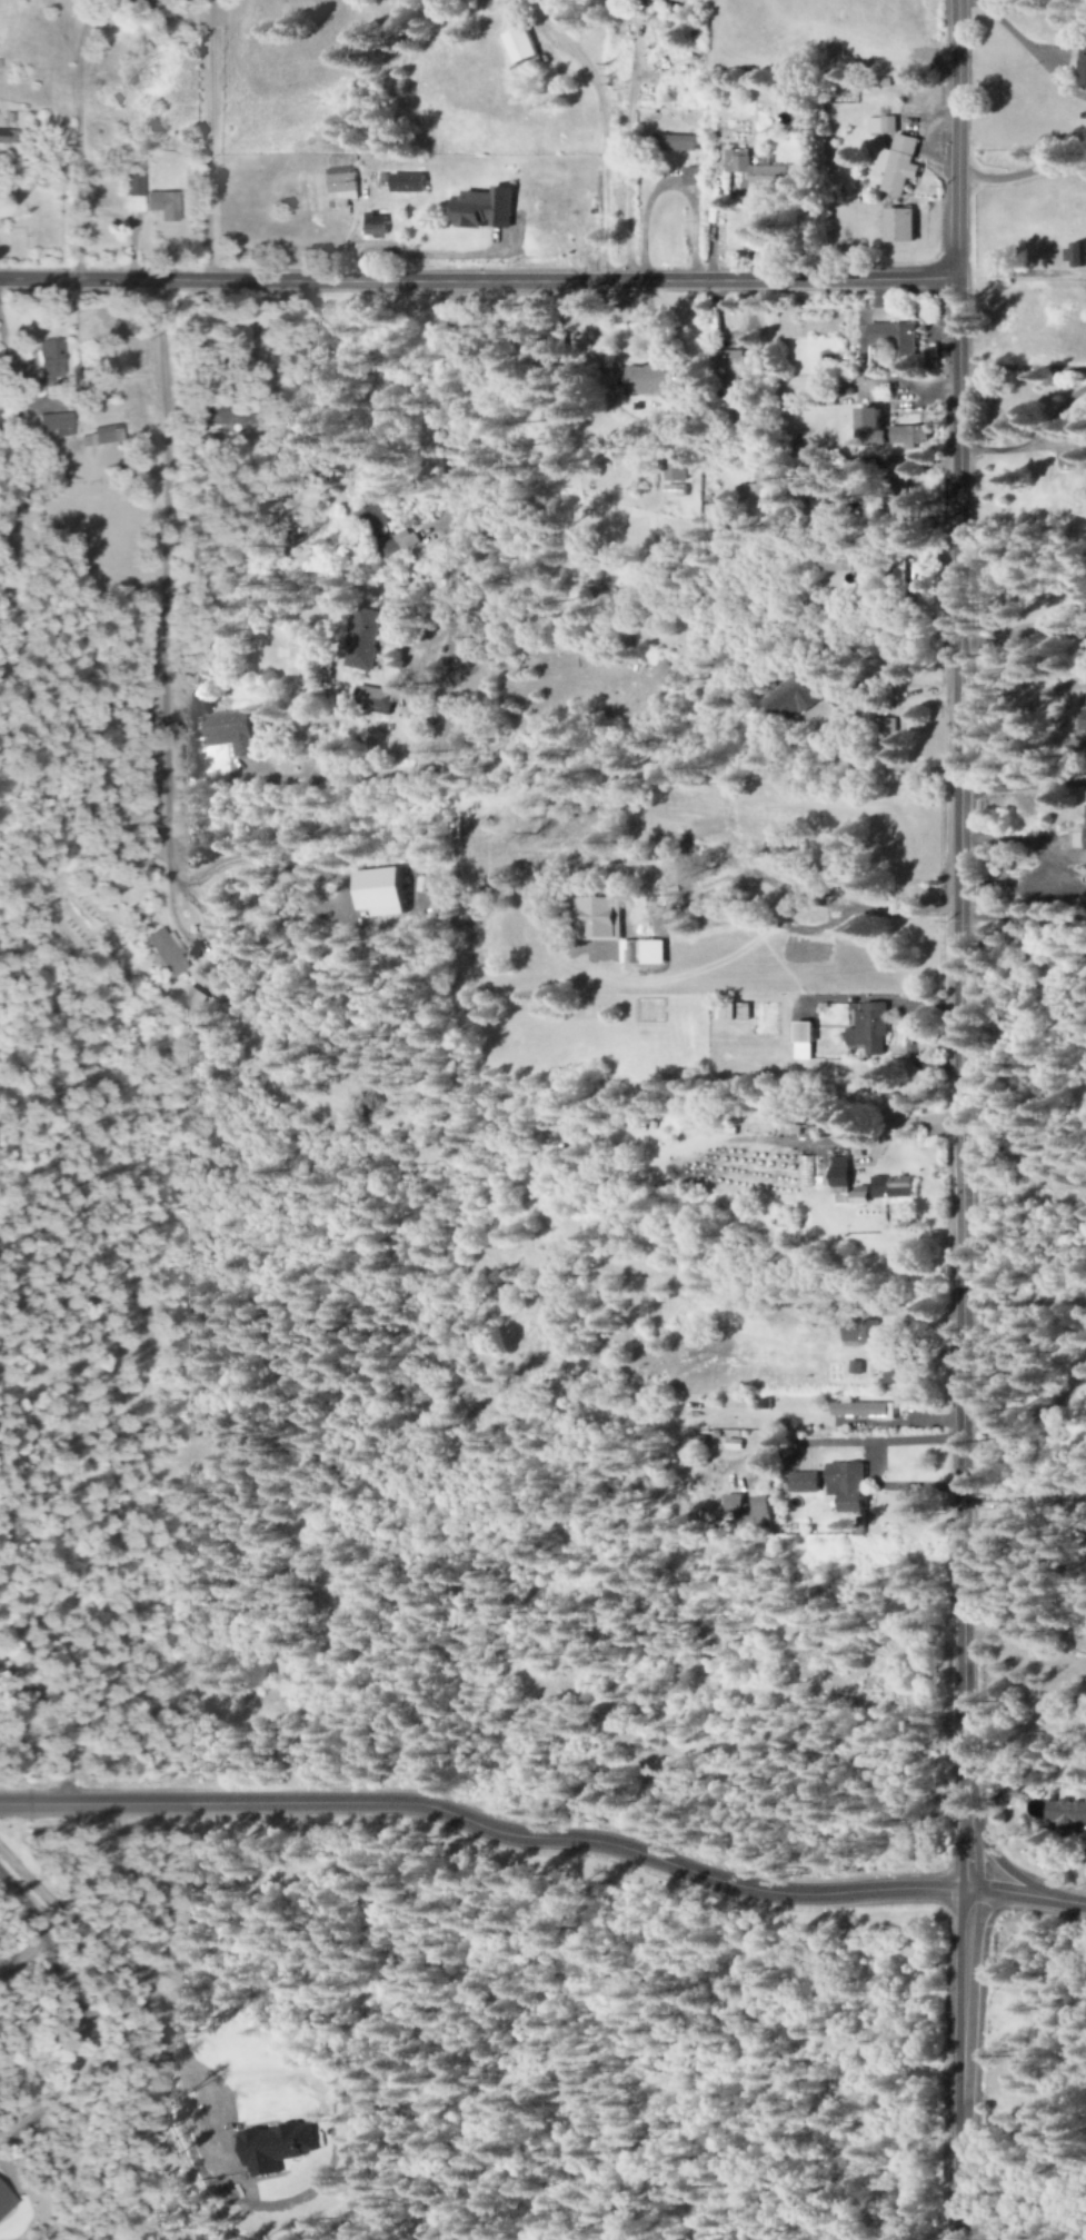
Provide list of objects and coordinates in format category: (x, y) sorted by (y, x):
building: (672, 0)
building: (143, 2)
building: (521, 46)
building: (847, 97)
building: (883, 126)
building: (10, 138)
building: (677, 143)
building: (900, 165)
building: (757, 170)
building: (693, 176)
building: (408, 182)
building: (133, 186)
building: (342, 187)
building: (163, 206)
building: (485, 209)
building: (376, 225)
building: (901, 226)
building: (1076, 255)
road: (474, 280)
building: (895, 340)
building: (50, 361)
building: (733, 371)
building: (650, 380)
building: (222, 416)
building: (56, 424)
building: (885, 431)
building: (100, 437)
building: (385, 530)
building: (843, 564)
building: (363, 639)
building: (669, 675)
building: (376, 699)
building: (795, 699)
building: (1084, 721)
building: (231, 731)
building: (884, 733)
building: (385, 893)
building: (604, 918)
building: (166, 953)
building: (733, 1013)
building: (870, 1028)
building: (804, 1041)
road: (956, 1119)
building: (840, 1175)
building: (895, 1186)
building: (863, 1195)
building: (860, 1330)
building: (897, 1368)
building: (864, 1408)
building: (806, 1482)
building: (849, 1485)
building: (754, 1510)
building: (1065, 1813)
road: (545, 1833)
road: (1000, 1864)
building: (276, 2147)
building: (6, 2201)

